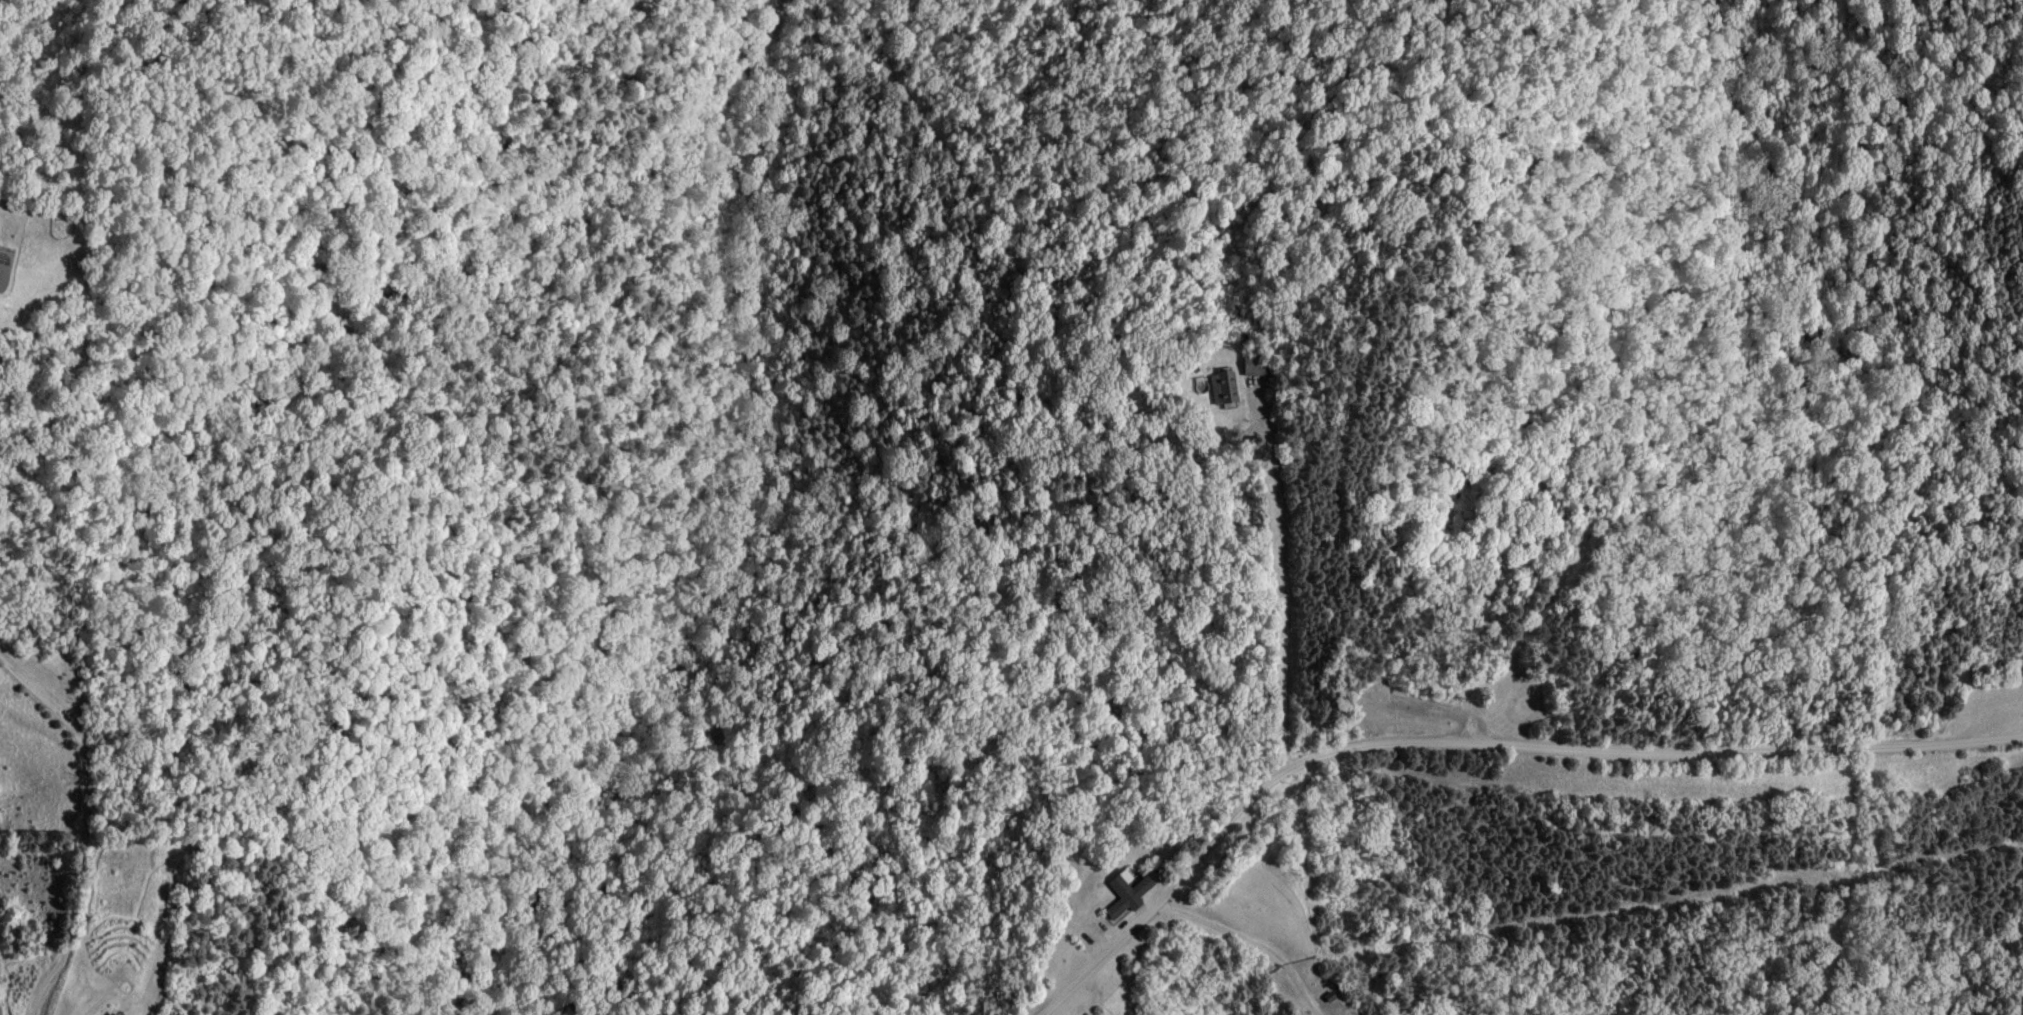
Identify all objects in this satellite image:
crop: (31, 265)
building: (1242, 366)
building: (1220, 387)
road: (1293, 606)
crop: (33, 729)
road: (1495, 763)
road: (85, 825)
building: (1122, 892)
building: (114, 1013)

